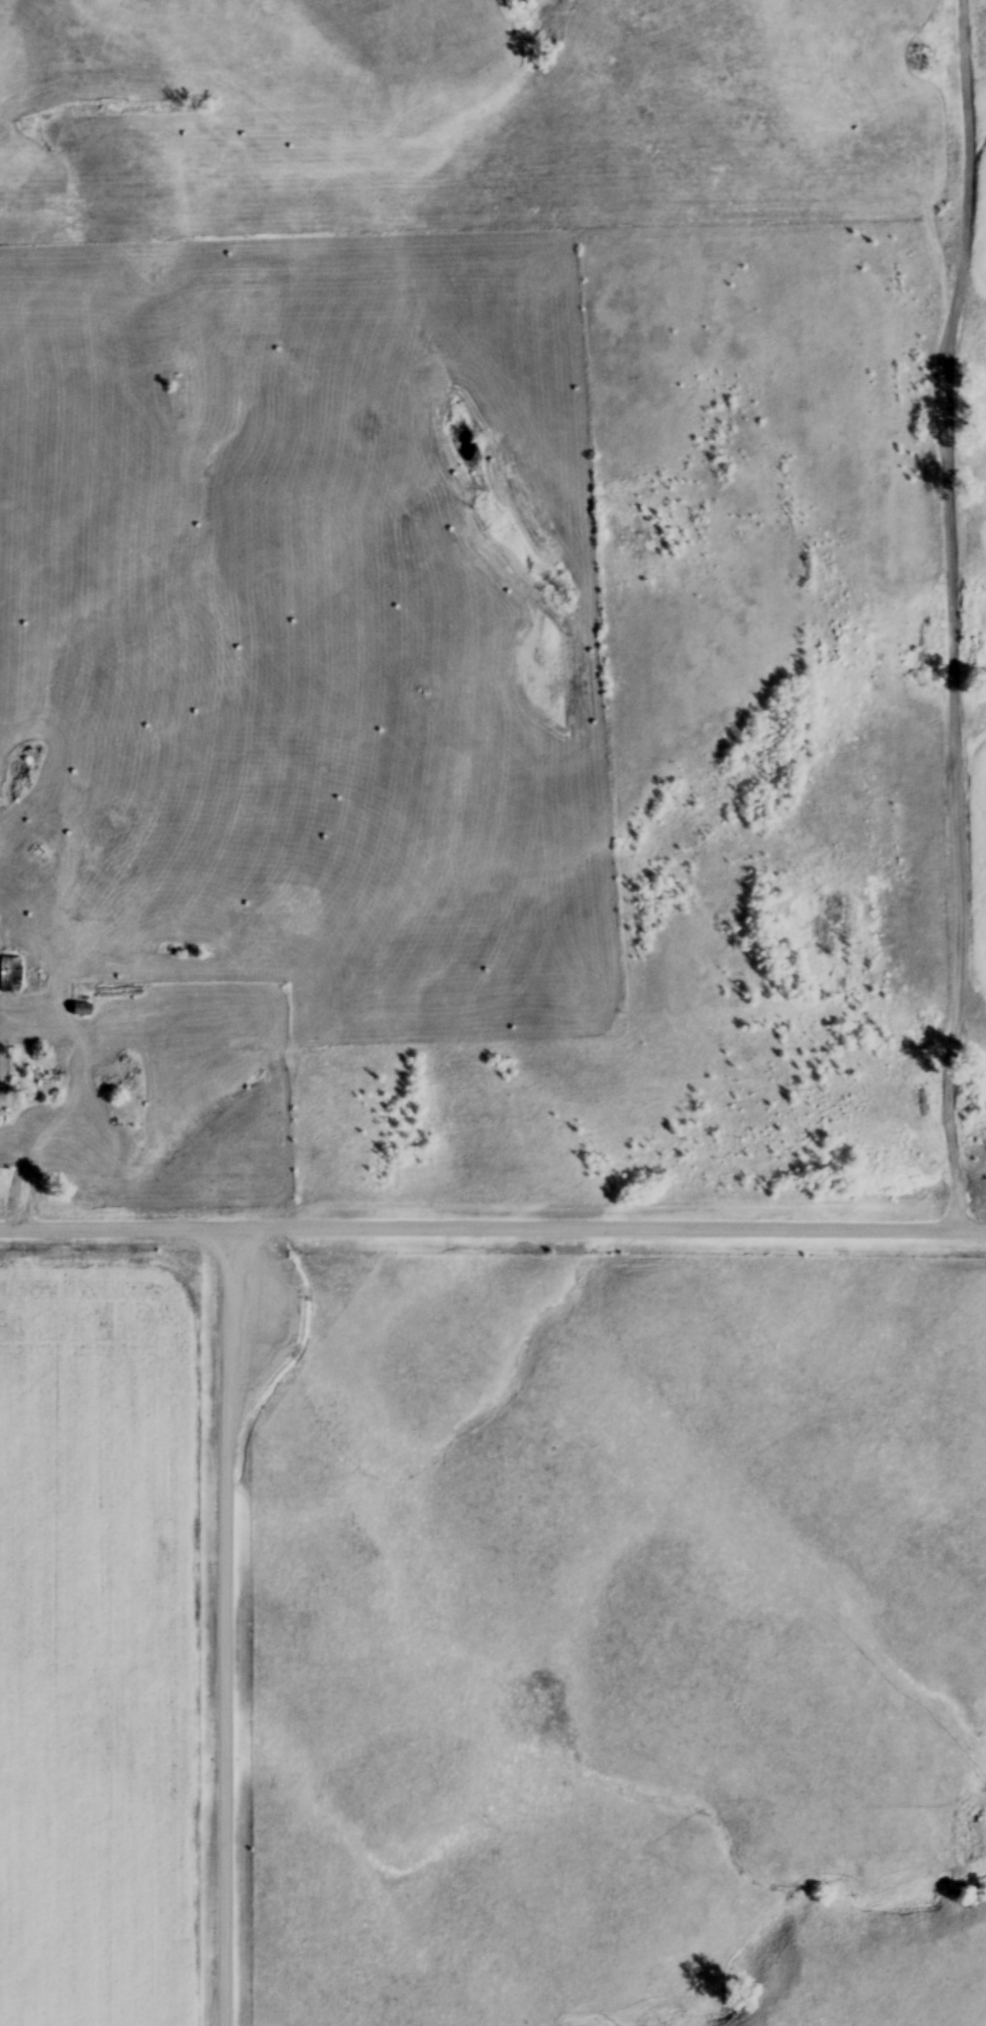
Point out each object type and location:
road: (953, 613)
building: (10, 976)
building: (82, 1011)
road: (32, 1147)
road: (493, 1226)
road: (226, 1625)

